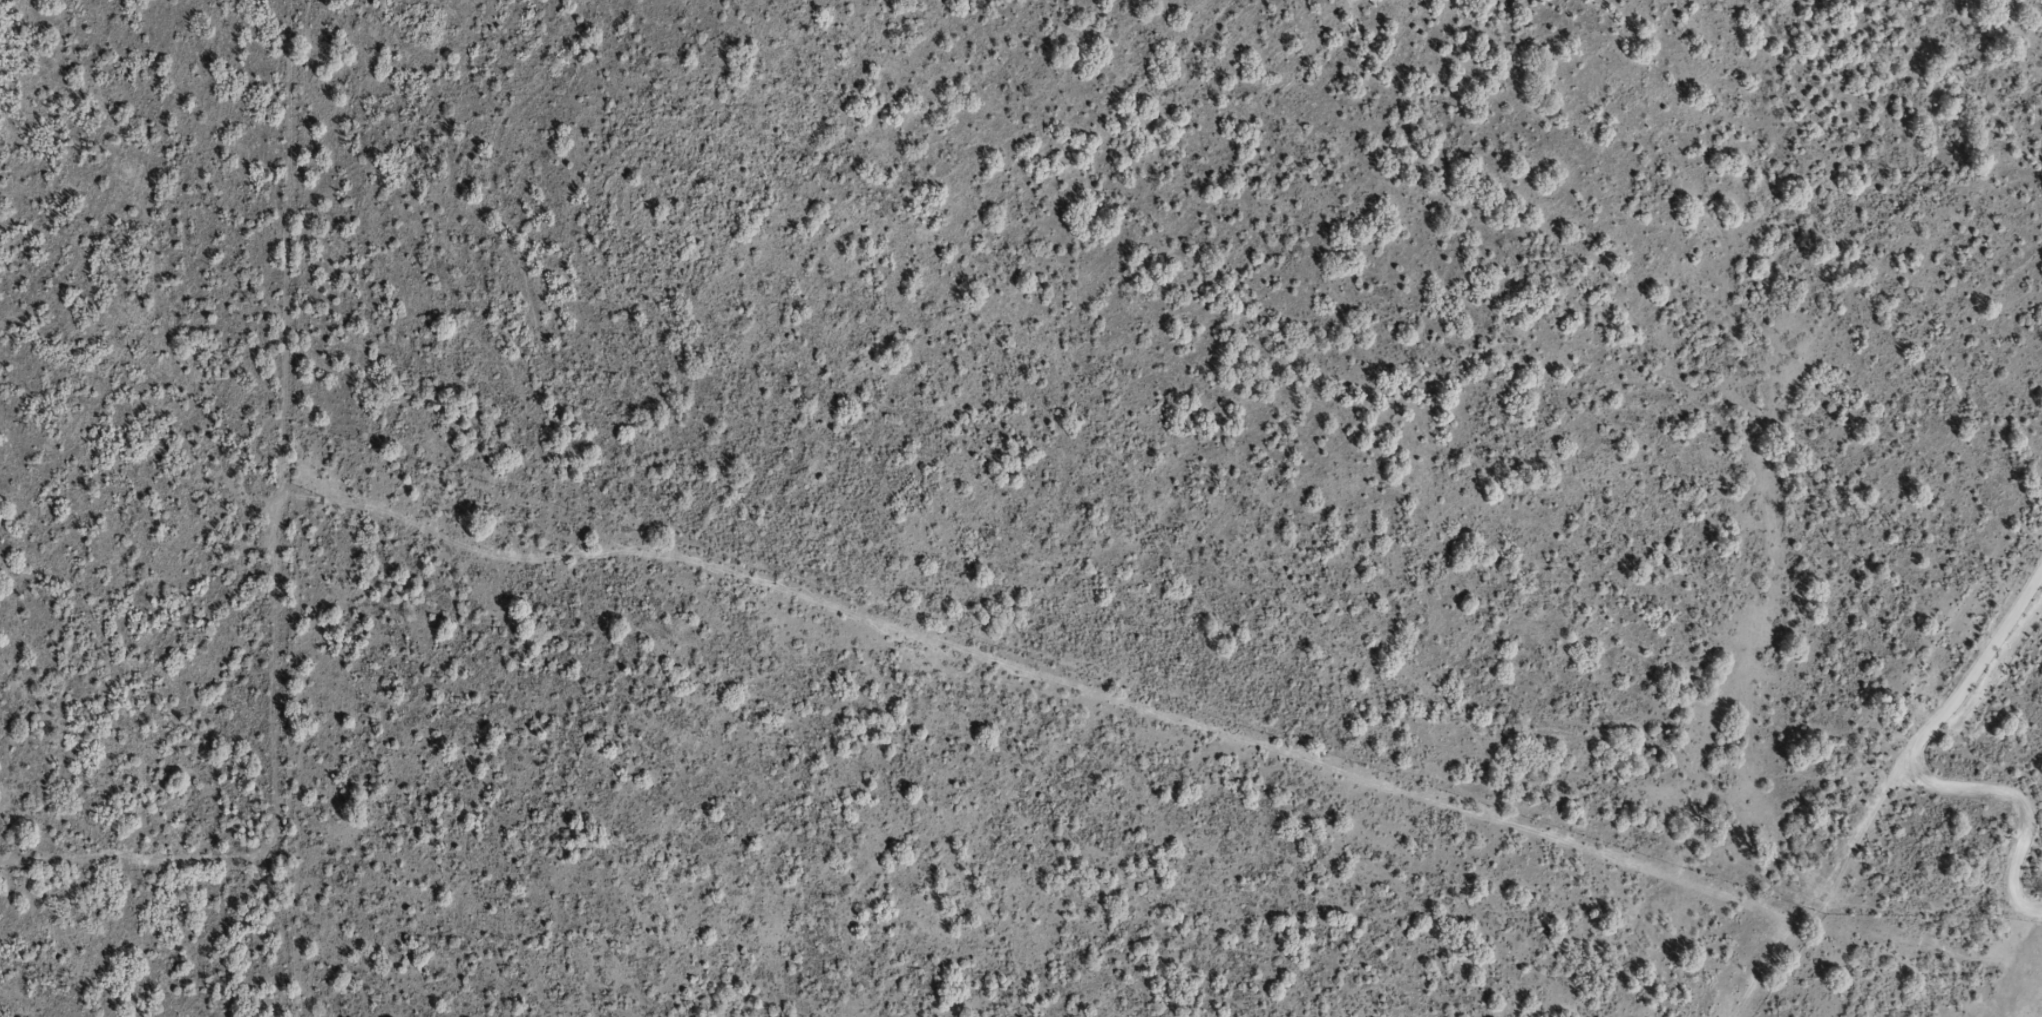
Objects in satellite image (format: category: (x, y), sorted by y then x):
road: (1919, 835)

